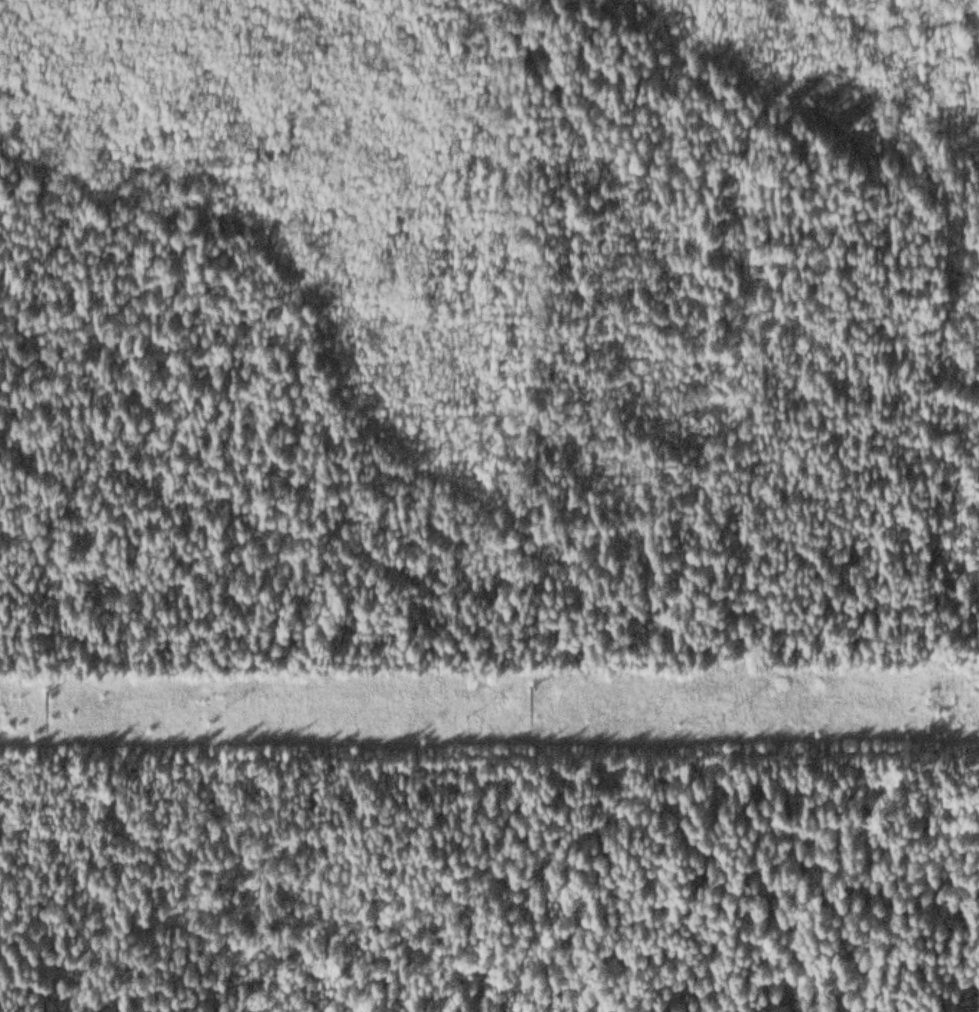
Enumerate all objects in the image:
road: (73, 190)
road: (360, 636)
power tower: (524, 676)
power tower: (35, 681)

